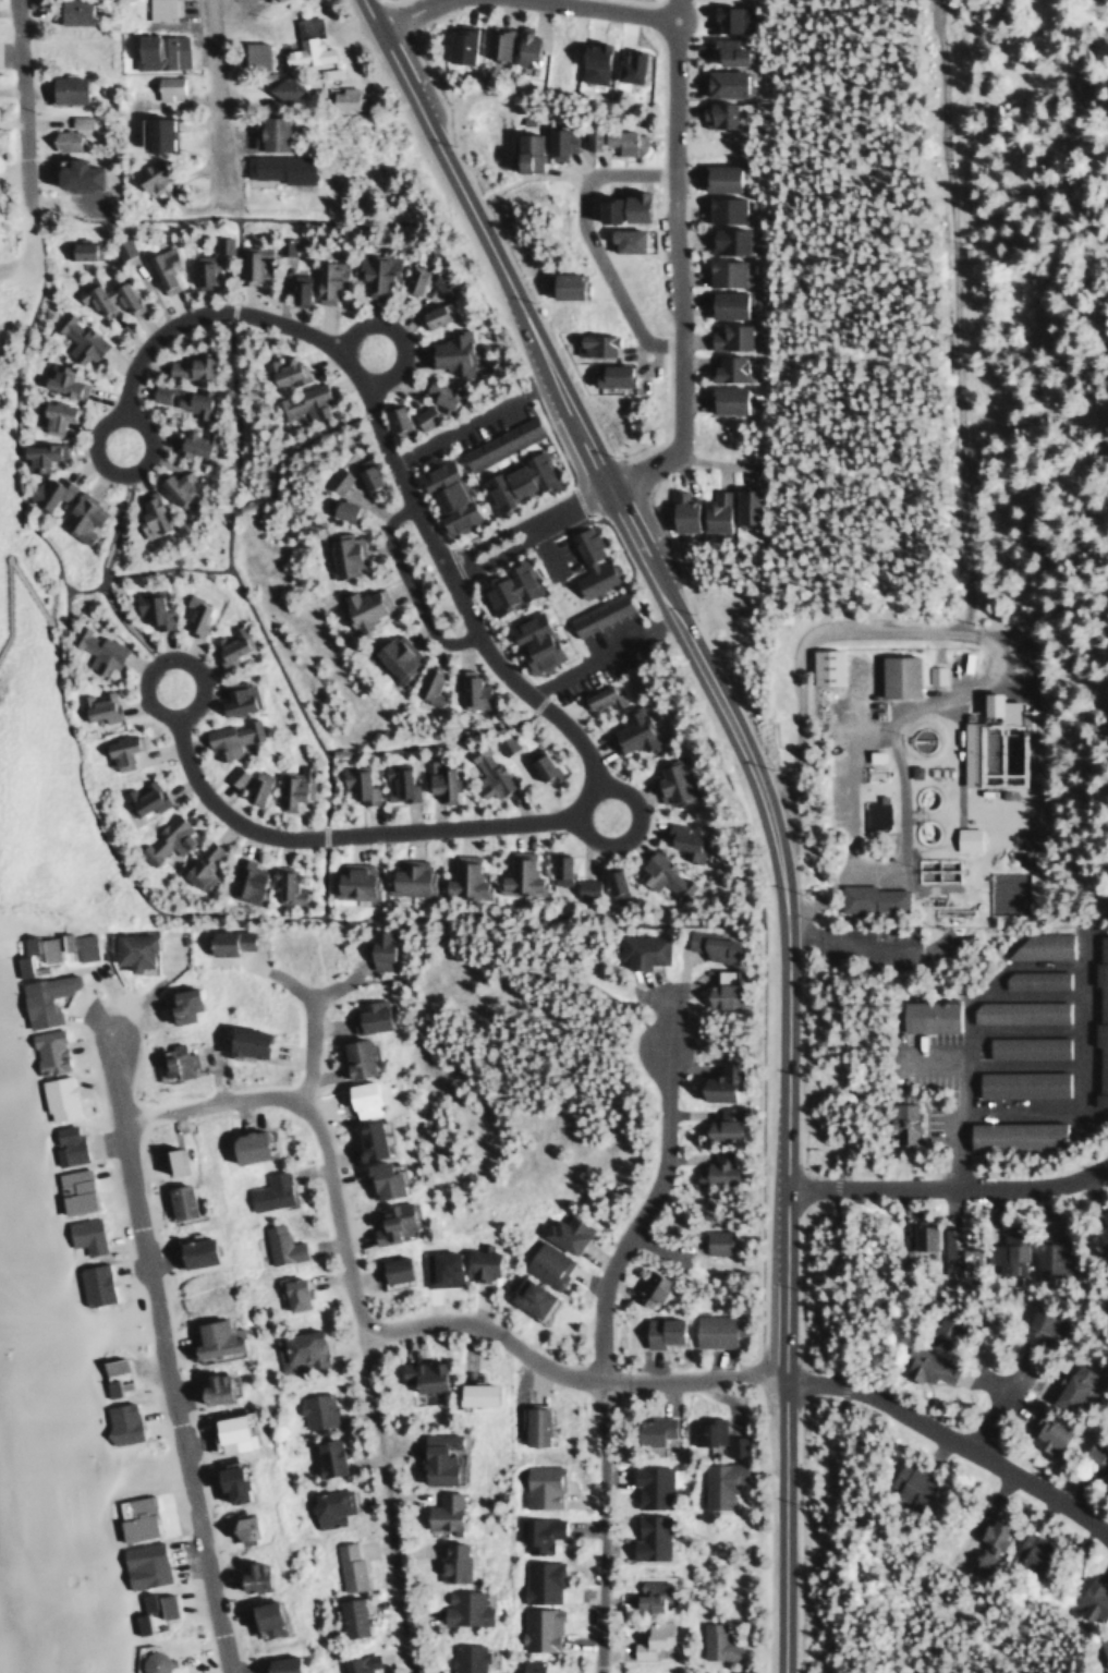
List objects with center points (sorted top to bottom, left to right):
building: (270, 0)
road: (436, 0)
road: (585, 2)
road: (403, 8)
road: (609, 8)
road: (674, 8)
building: (160, 9)
building: (69, 11)
building: (728, 17)
road: (410, 22)
building: (305, 44)
building: (455, 44)
building: (512, 46)
building: (157, 50)
building: (723, 51)
building: (252, 53)
building: (589, 61)
building: (626, 65)
building: (327, 72)
building: (721, 82)
building: (166, 86)
building: (62, 88)
building: (280, 88)
building: (342, 97)
road: (218, 101)
road: (17, 114)
building: (715, 114)
building: (78, 120)
building: (267, 132)
building: (151, 133)
building: (588, 138)
building: (62, 140)
building: (623, 141)
building: (557, 142)
building: (523, 151)
building: (277, 167)
building: (72, 173)
building: (146, 177)
building: (716, 177)
building: (618, 207)
building: (721, 208)
road: (13, 219)
road: (588, 238)
building: (622, 239)
building: (726, 241)
building: (220, 244)
building: (283, 245)
building: (122, 247)
building: (76, 248)
building: (251, 262)
building: (161, 268)
building: (199, 270)
building: (374, 270)
road: (672, 270)
building: (721, 272)
building: (325, 279)
building: (410, 280)
building: (440, 284)
building: (560, 284)
building: (295, 288)
building: (109, 299)
building: (723, 303)
road: (394, 334)
road: (316, 336)
building: (76, 337)
building: (727, 337)
building: (592, 343)
building: (449, 352)
building: (187, 366)
building: (725, 368)
building: (283, 369)
building: (60, 380)
road: (5, 386)
building: (157, 392)
building: (438, 393)
building: (723, 399)
building: (190, 401)
building: (301, 402)
road: (111, 413)
building: (54, 414)
building: (422, 416)
building: (392, 417)
building: (498, 443)
building: (38, 454)
building: (364, 474)
building: (433, 475)
building: (336, 480)
building: (516, 481)
building: (175, 485)
building: (46, 492)
road: (14, 493)
road: (576, 502)
building: (742, 506)
building: (450, 508)
building: (339, 510)
building: (678, 510)
building: (711, 512)
building: (148, 516)
building: (78, 517)
road: (489, 537)
road: (228, 540)
road: (497, 551)
building: (343, 554)
building: (588, 563)
road: (53, 573)
road: (101, 573)
road: (406, 584)
building: (362, 607)
building: (149, 608)
building: (193, 614)
building: (597, 614)
building: (531, 642)
building: (229, 644)
building: (97, 650)
building: (394, 655)
building: (823, 667)
road: (146, 674)
building: (935, 674)
building: (896, 676)
building: (428, 684)
building: (471, 690)
building: (600, 696)
building: (236, 698)
building: (98, 706)
building: (1010, 711)
building: (629, 732)
building: (229, 738)
building: (502, 743)
building: (118, 751)
building: (969, 752)
road: (324, 762)
building: (540, 768)
building: (486, 772)
building: (233, 776)
building: (437, 779)
building: (670, 781)
building: (356, 784)
building: (398, 784)
wastewater plant: (925, 785)
building: (254, 786)
building: (294, 786)
road: (757, 791)
building: (143, 797)
road: (494, 823)
road: (632, 831)
building: (964, 838)
building: (165, 839)
building: (680, 839)
building: (199, 866)
building: (558, 866)
building: (519, 875)
building: (660, 875)
building: (407, 876)
building: (462, 877)
building: (352, 880)
building: (245, 881)
building: (284, 885)
building: (611, 885)
building: (583, 887)
building: (869, 898)
building: (227, 939)
building: (25, 943)
building: (708, 944)
building: (63, 945)
building: (1036, 946)
building: (129, 947)
building: (376, 949)
building: (640, 949)
building: (19, 963)
building: (1033, 979)
building: (719, 990)
building: (42, 997)
building: (178, 1002)
building: (1016, 1010)
building: (367, 1014)
building: (926, 1016)
building: (1099, 1019)
building: (241, 1040)
building: (1024, 1046)
road: (309, 1048)
building: (46, 1051)
building: (352, 1056)
building: (173, 1060)
building: (716, 1081)
building: (1019, 1082)
building: (56, 1096)
building: (1034, 1103)
building: (719, 1124)
building: (1012, 1133)
building: (364, 1138)
building: (64, 1143)
building: (242, 1144)
building: (168, 1159)
building: (716, 1167)
building: (379, 1177)
road: (949, 1186)
building: (72, 1189)
building: (268, 1190)
building: (175, 1199)
road: (641, 1216)
building: (389, 1222)
building: (1100, 1228)
building: (564, 1232)
building: (84, 1234)
building: (921, 1235)
building: (714, 1240)
building: (279, 1244)
building: (191, 1250)
building: (1006, 1253)
building: (1045, 1254)
building: (478, 1262)
building: (545, 1263)
building: (441, 1266)
building: (390, 1268)
building: (92, 1283)
building: (648, 1288)
road: (354, 1292)
building: (525, 1296)
building: (1038, 1326)
building: (657, 1330)
building: (939, 1330)
building: (210, 1337)
road: (161, 1339)
building: (297, 1349)
building: (110, 1363)
building: (924, 1365)
building: (421, 1373)
road: (562, 1374)
building: (108, 1386)
building: (1072, 1386)
building: (208, 1387)
building: (472, 1393)
building: (315, 1409)
road: (996, 1414)
building: (119, 1422)
building: (531, 1423)
building: (650, 1429)
building: (705, 1430)
building: (227, 1432)
building: (1045, 1433)
road: (950, 1436)
building: (733, 1444)
building: (326, 1456)
building: (435, 1456)
building: (224, 1481)
building: (718, 1482)
building: (1105, 1482)
building: (649, 1484)
building: (909, 1484)
building: (539, 1486)
building: (326, 1506)
building: (440, 1511)
building: (132, 1516)
road: (606, 1527)
building: (538, 1532)
building: (647, 1537)
building: (986, 1542)
building: (1030, 1552)
building: (451, 1560)
building: (142, 1564)
building: (346, 1565)
building: (248, 1575)
building: (540, 1580)
building: (647, 1592)
building: (1091, 1599)
building: (145, 1601)
building: (162, 1604)
building: (463, 1607)
building: (349, 1615)
building: (260, 1616)
building: (137, 1622)
building: (538, 1627)
building: (652, 1637)
building: (715, 1641)
building: (1103, 1647)
building: (465, 1658)
building: (150, 1661)
building: (277, 1663)
building: (358, 1663)
building: (528, 1665)

